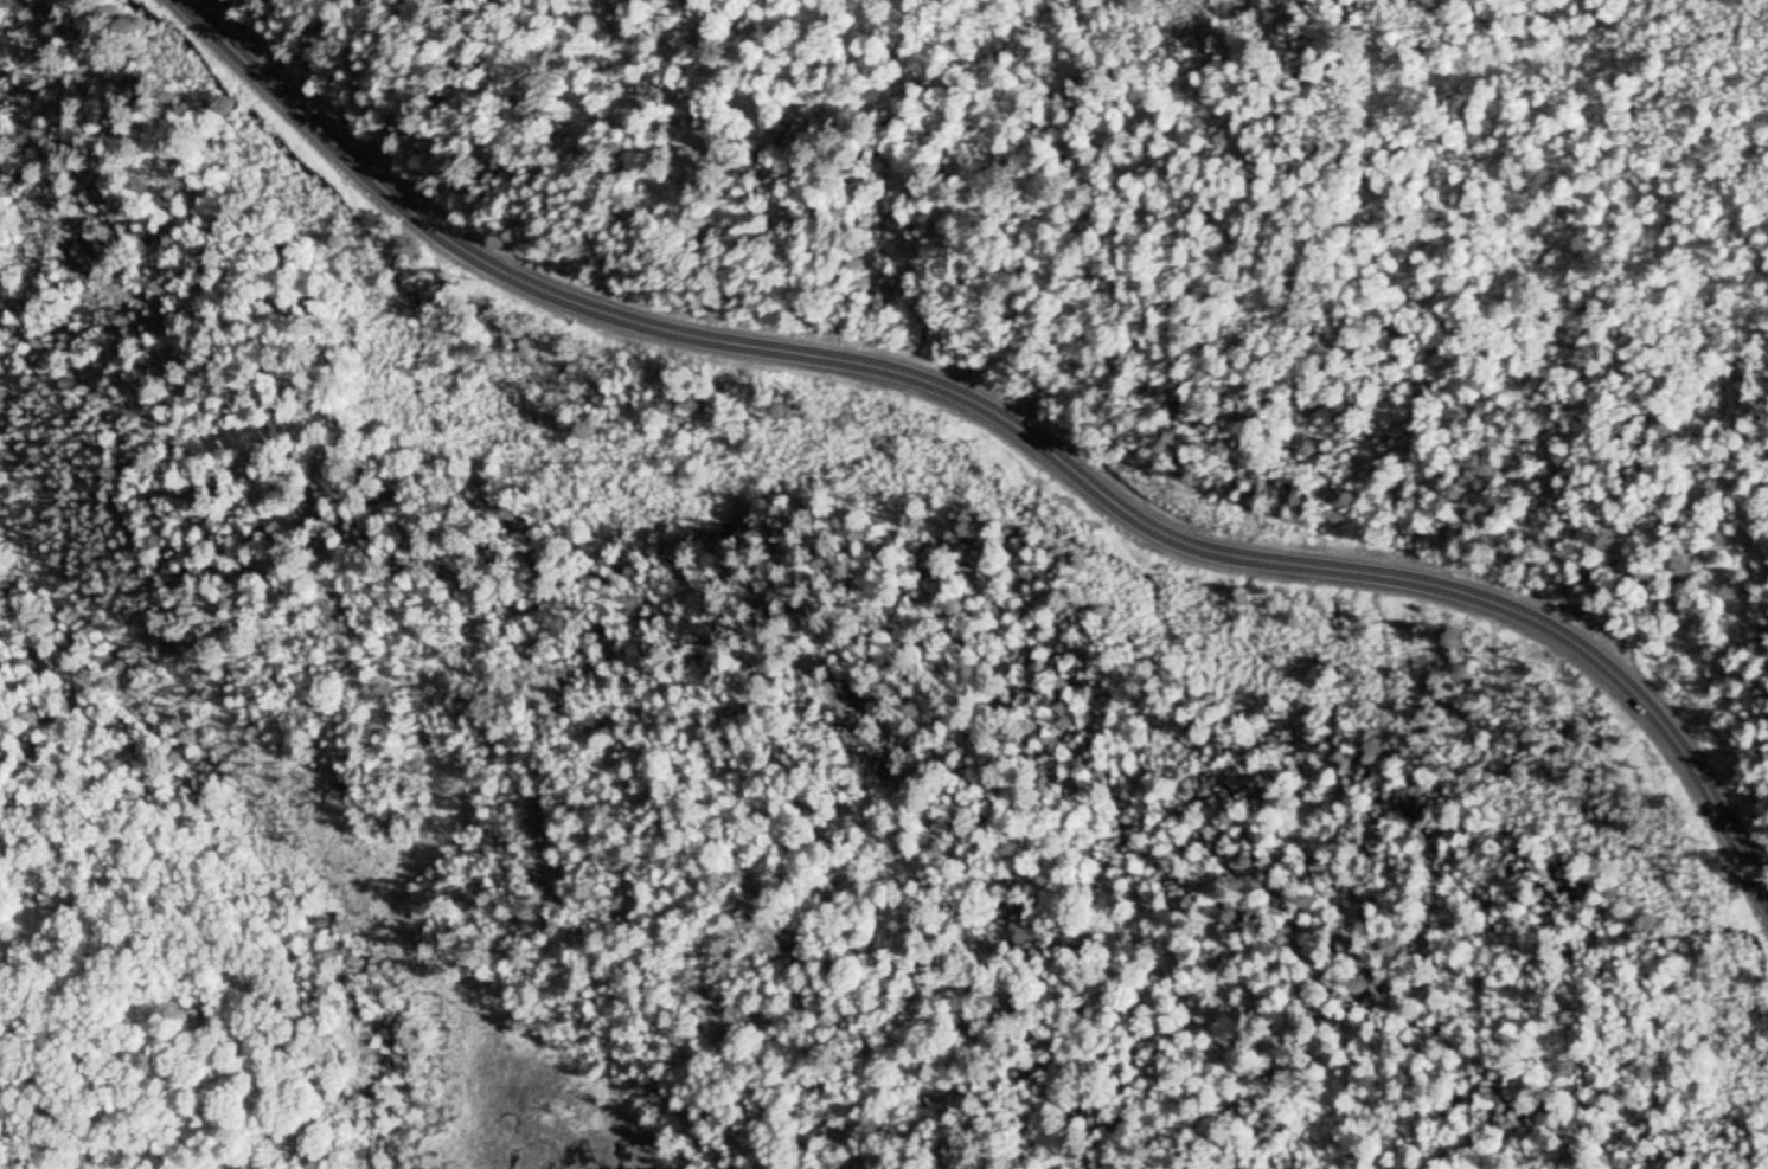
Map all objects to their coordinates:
road: (1005, 417)

